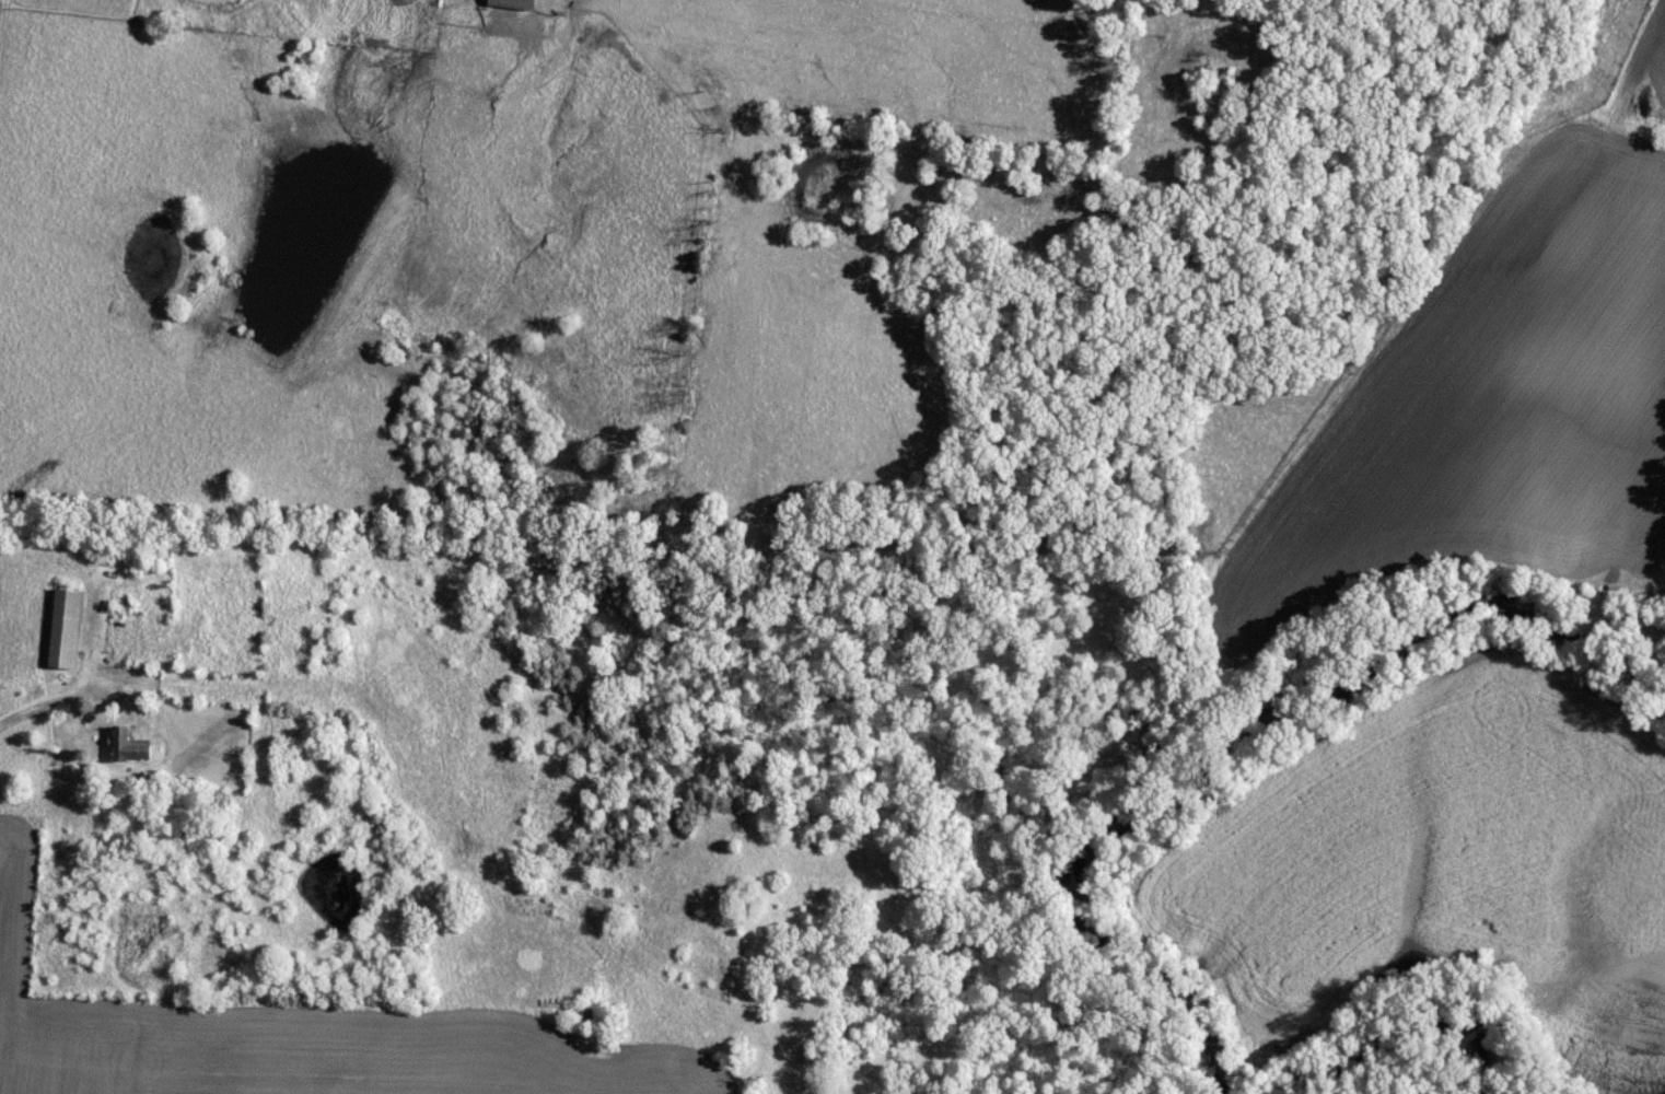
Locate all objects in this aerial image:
building: (522, 3)
building: (71, 630)
road: (38, 703)
building: (135, 746)

